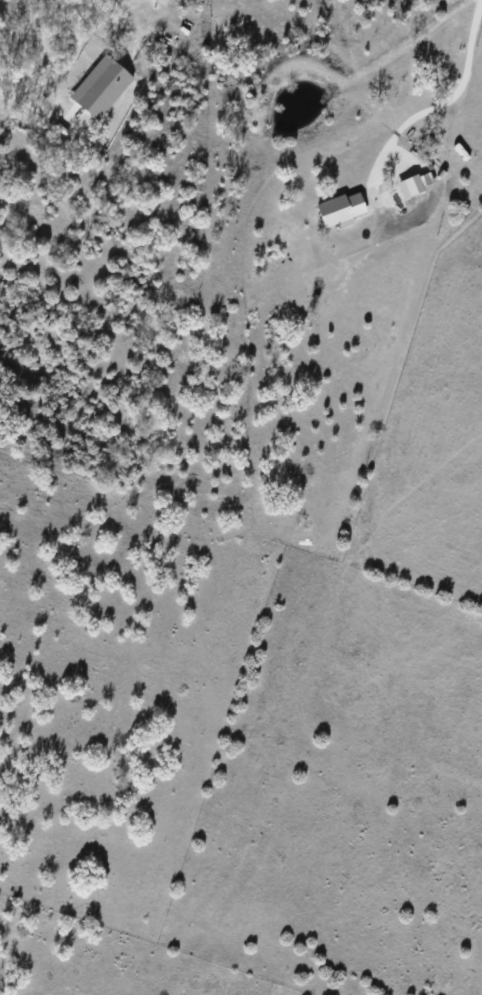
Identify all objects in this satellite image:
building: (339, 208)

